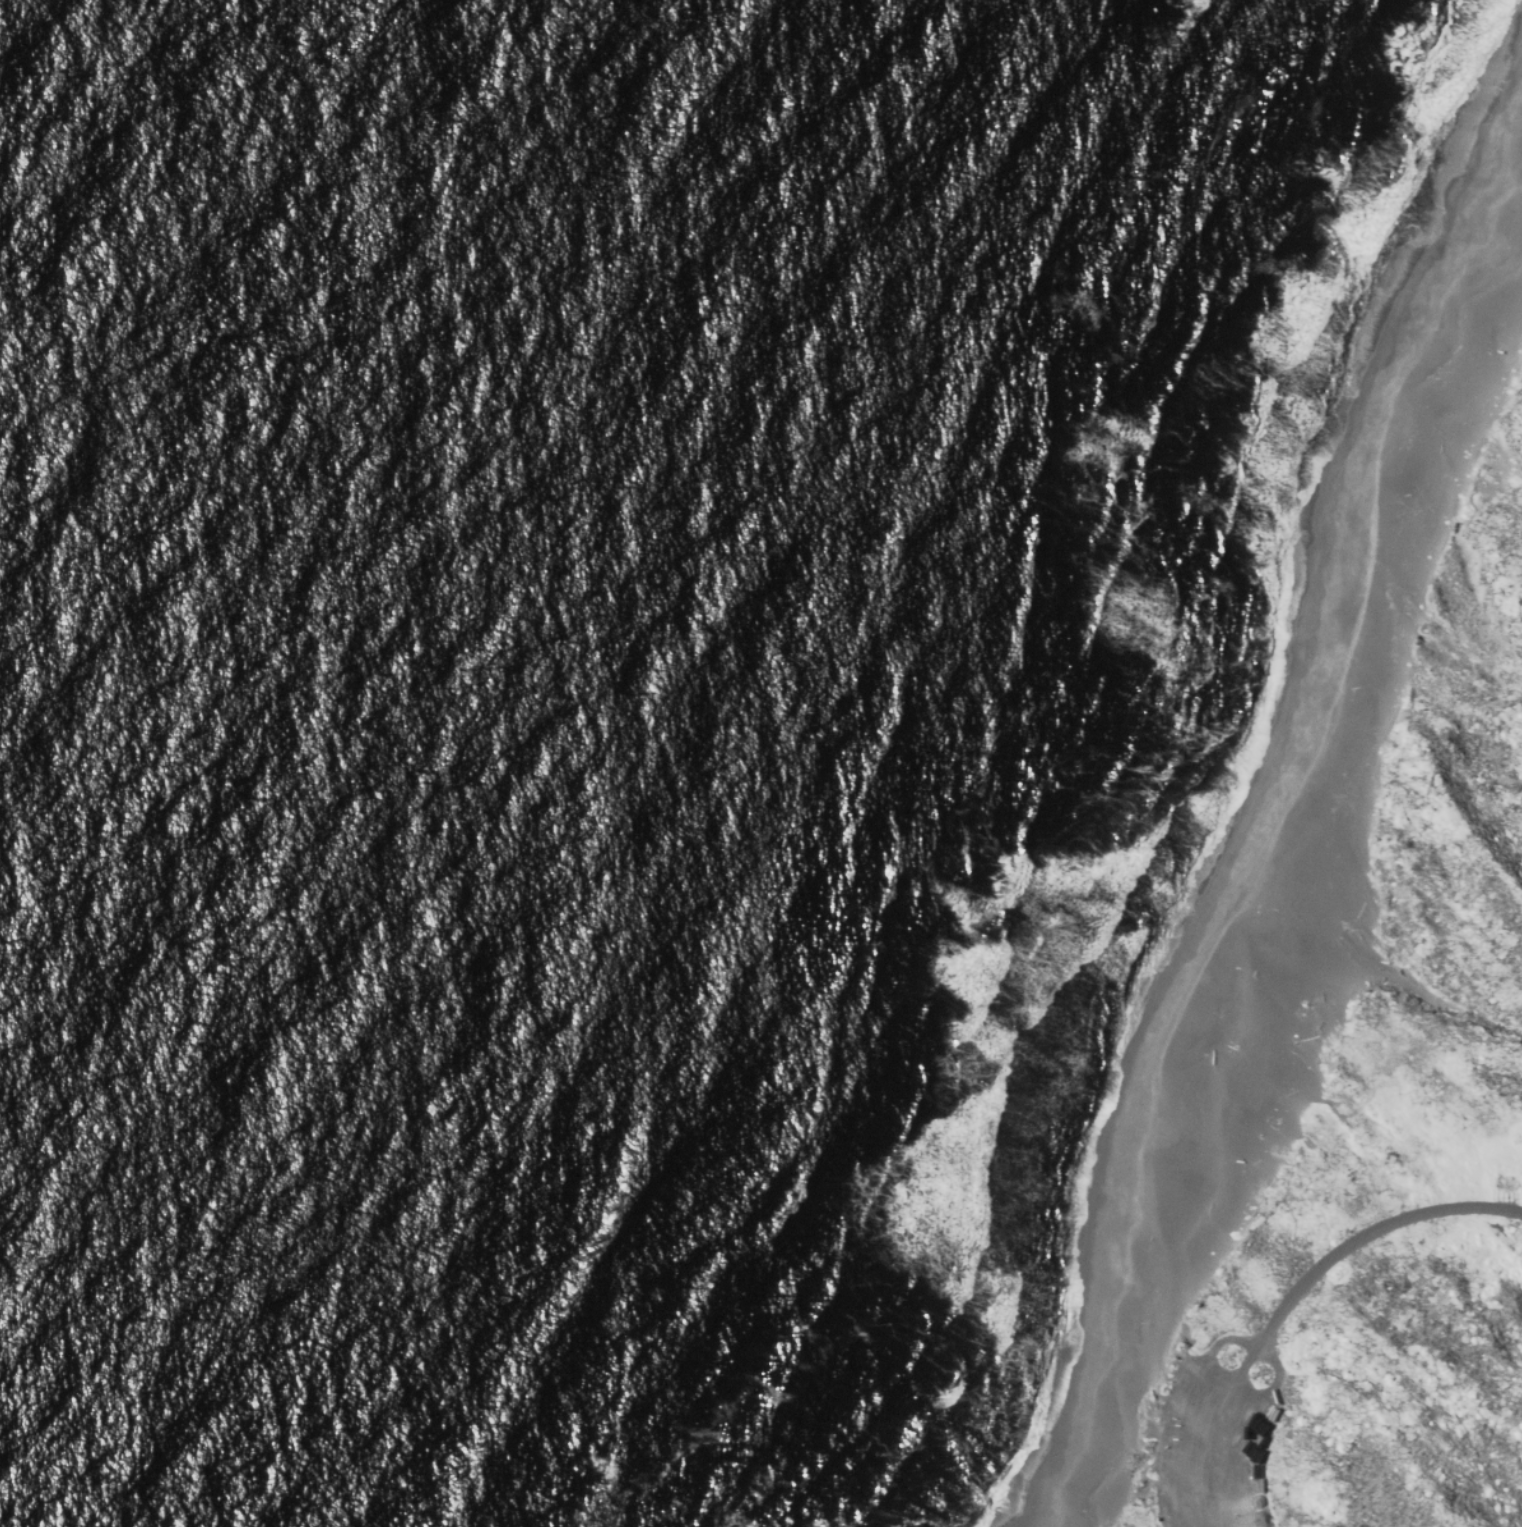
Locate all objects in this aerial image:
road: (1368, 1237)
road: (1240, 1343)
road: (1160, 1426)
road: (1217, 1434)
parking lot: (1215, 1452)

